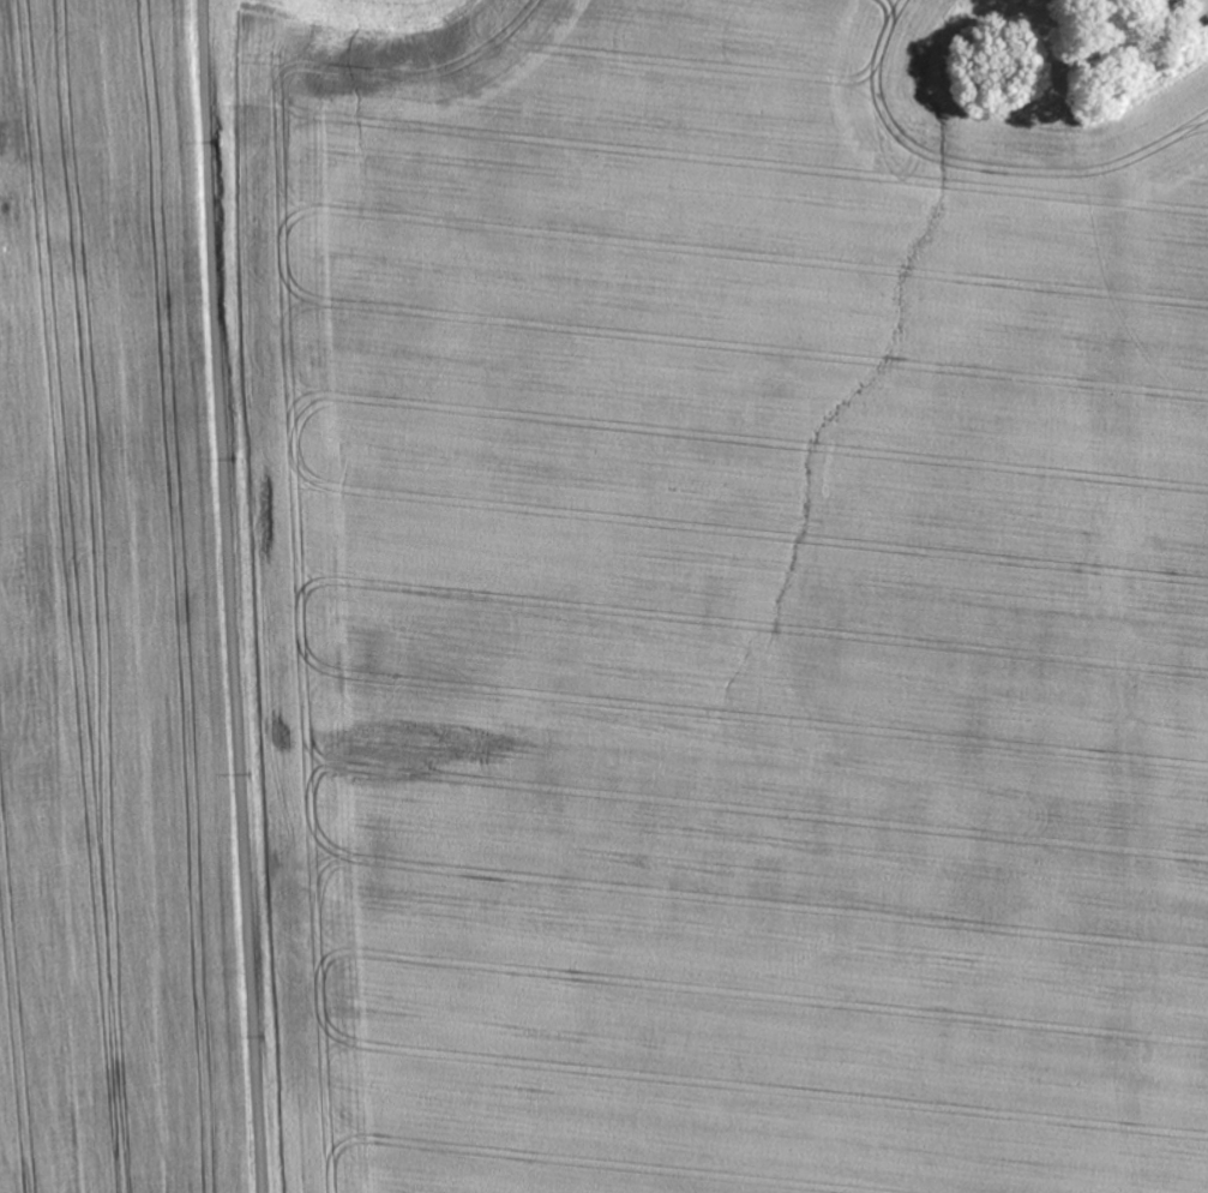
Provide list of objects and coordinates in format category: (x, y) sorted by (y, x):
road: (232, 596)

